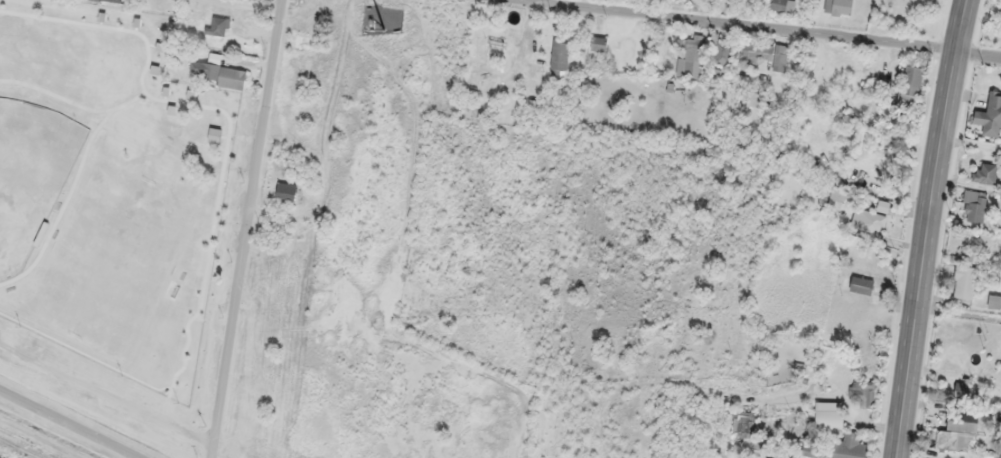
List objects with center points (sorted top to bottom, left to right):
building: (111, 1)
building: (781, 6)
building: (838, 7)
building: (218, 26)
road: (726, 29)
road: (211, 32)
building: (302, 43)
building: (598, 43)
building: (723, 52)
building: (559, 54)
building: (764, 54)
building: (691, 57)
building: (220, 72)
building: (911, 83)
building: (755, 99)
building: (990, 115)
road: (971, 154)
building: (983, 173)
building: (286, 192)
building: (838, 199)
building: (974, 206)
building: (870, 221)
road: (928, 228)
road: (251, 229)
building: (964, 282)
building: (861, 285)
building: (994, 302)
road: (958, 312)
building: (998, 347)
road: (728, 392)
building: (862, 394)
building: (830, 419)
road: (69, 422)
building: (744, 425)
building: (958, 431)
railway: (21, 447)
building: (849, 448)
building: (810, 451)

